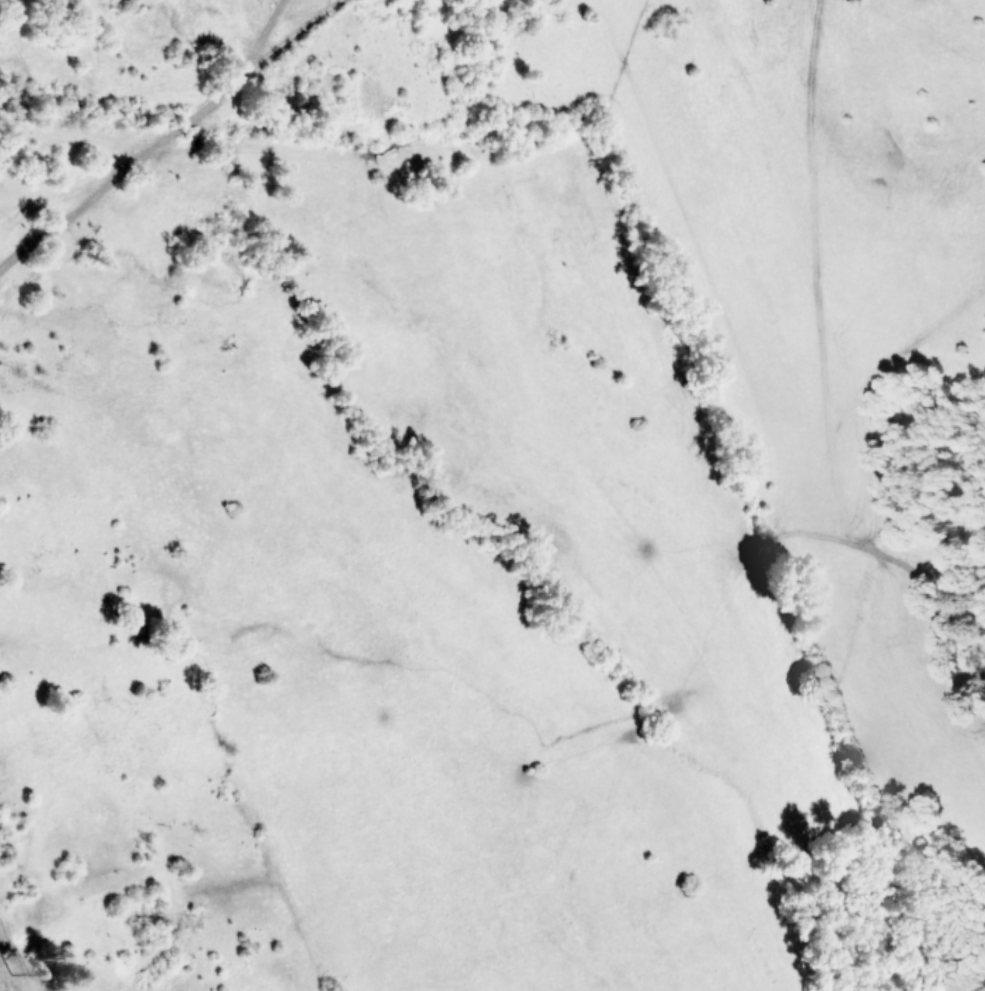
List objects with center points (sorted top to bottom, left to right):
road: (298, 36)
road: (157, 151)

